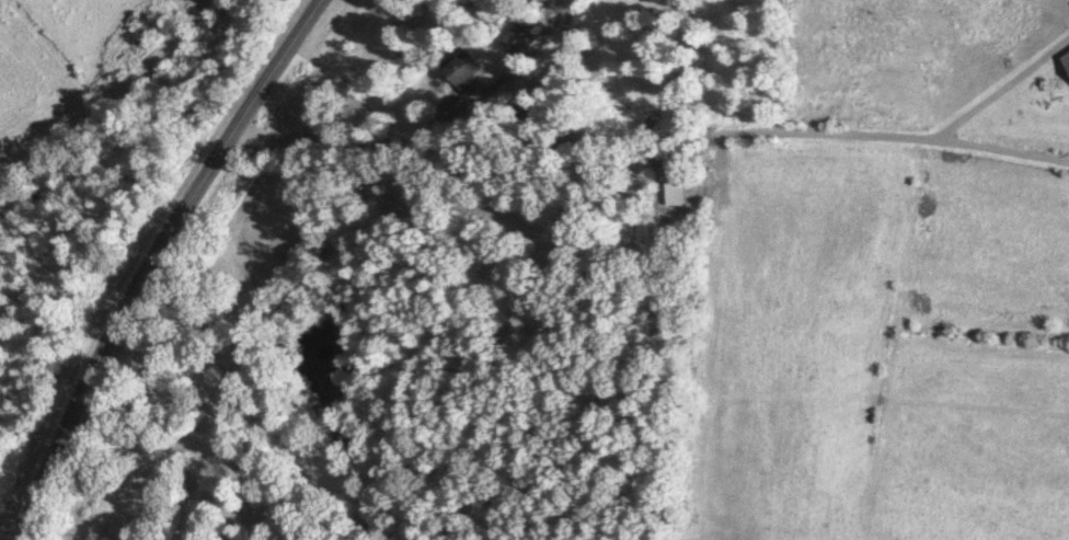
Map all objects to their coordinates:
building: (519, 41)
building: (467, 73)
road: (111, 107)
road: (650, 142)
road: (150, 261)

